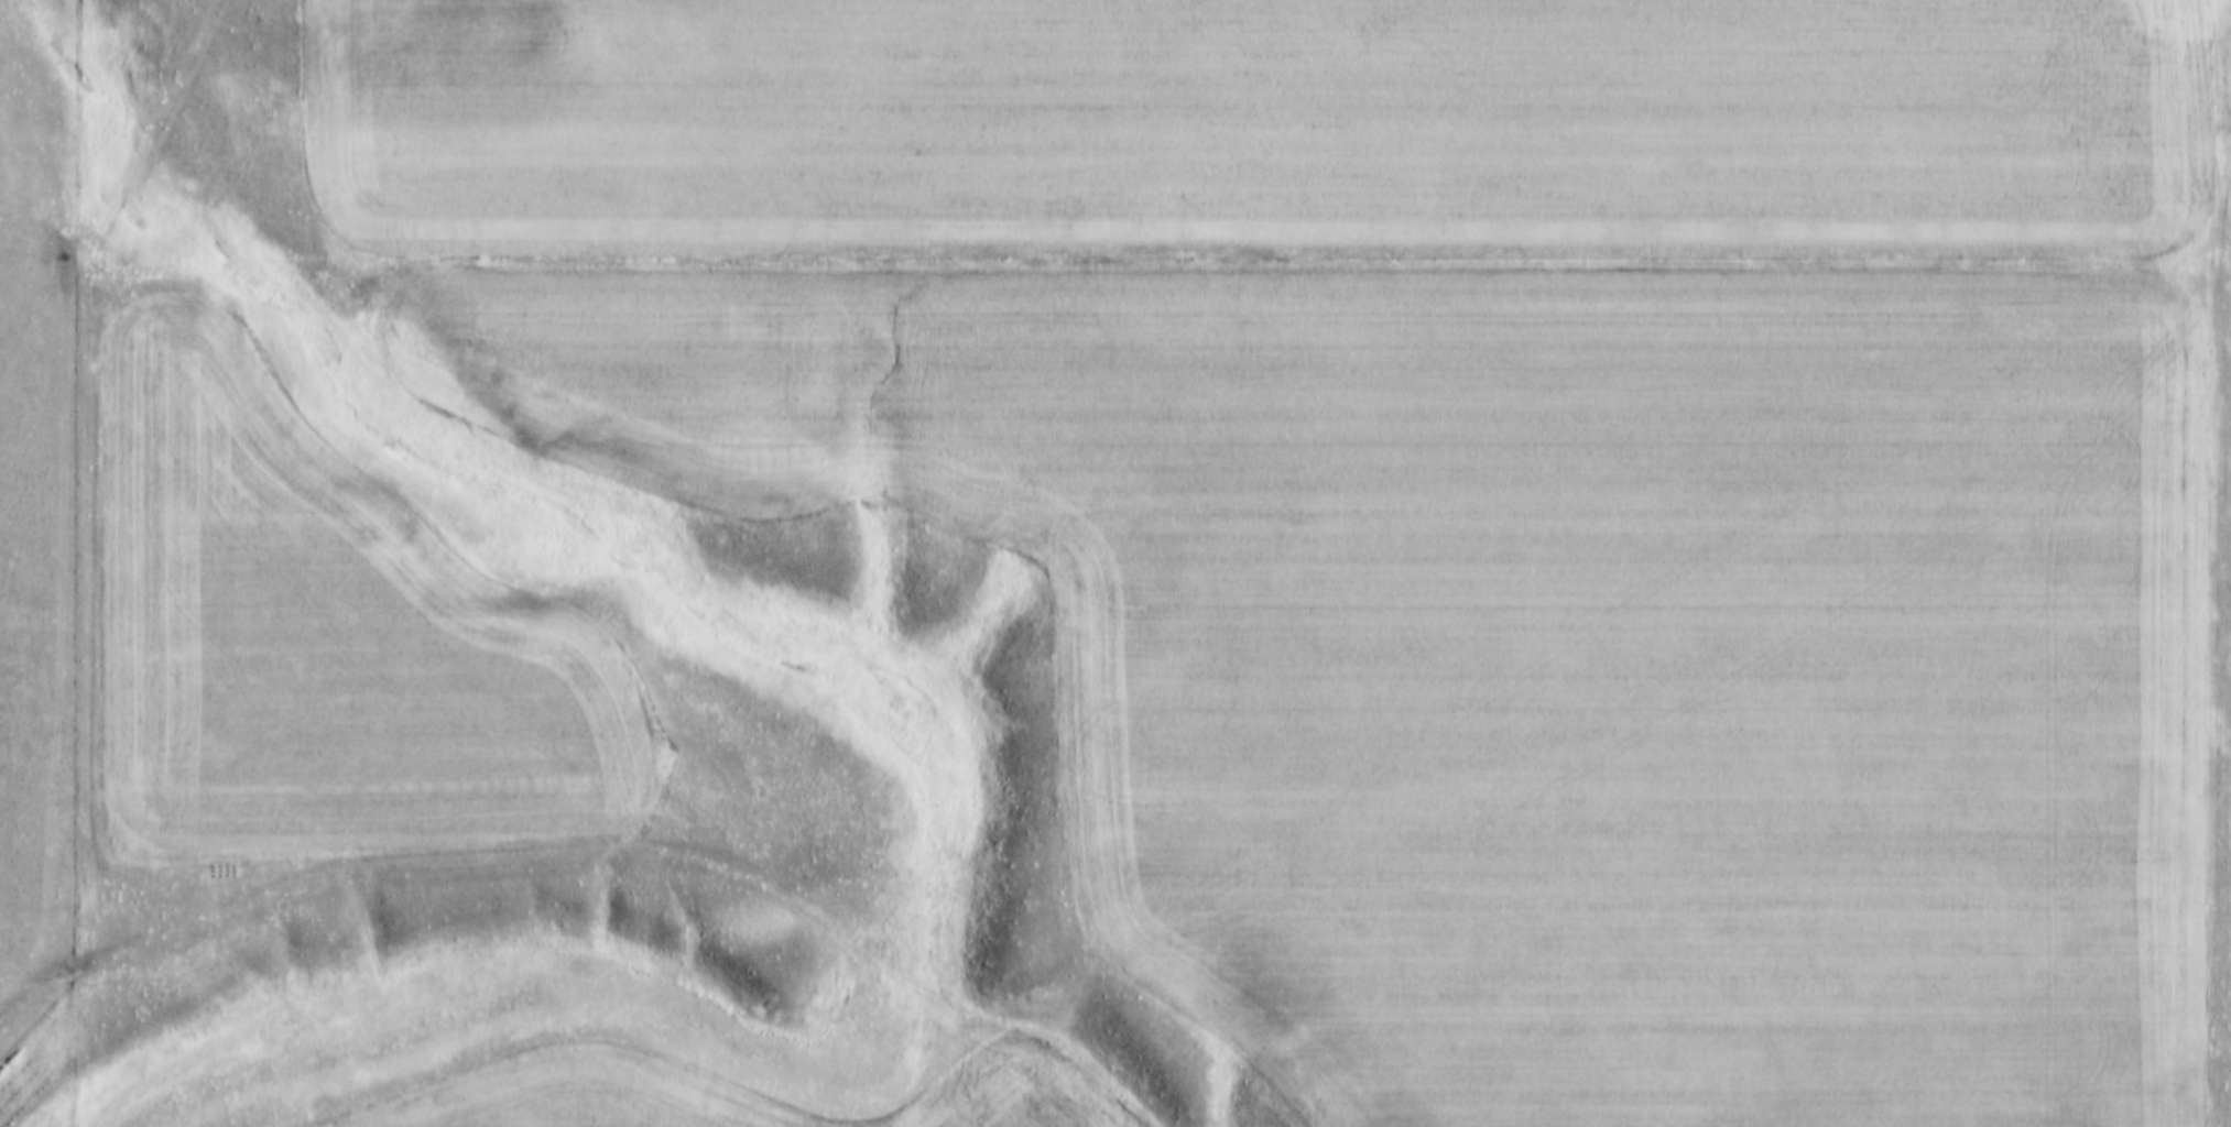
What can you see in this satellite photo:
road: (315, 878)

